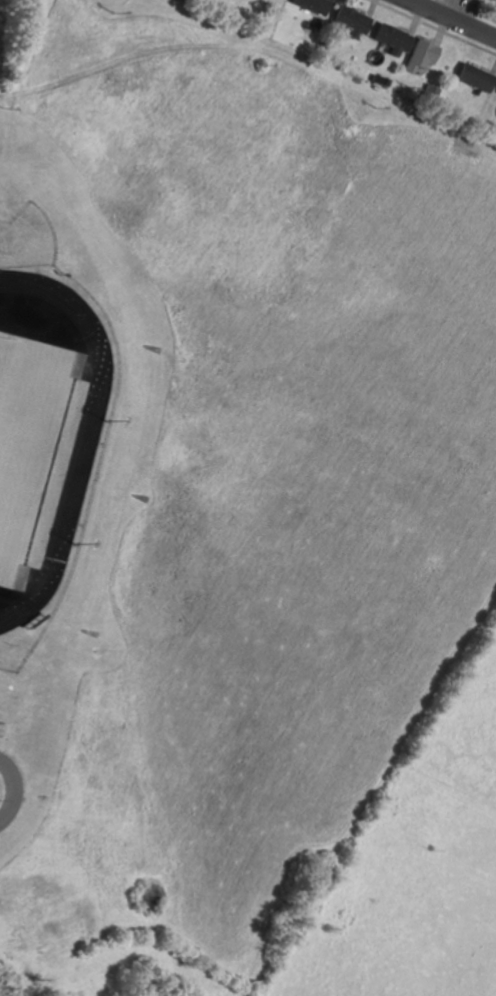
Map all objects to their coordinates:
building: (310, 5)
road: (455, 17)
building: (349, 20)
building: (390, 38)
building: (419, 55)
building: (473, 77)
building: (429, 91)
stadium: (46, 423)
park: (21, 427)
track: (41, 429)
track: (52, 470)
track: (7, 598)
road: (17, 790)

